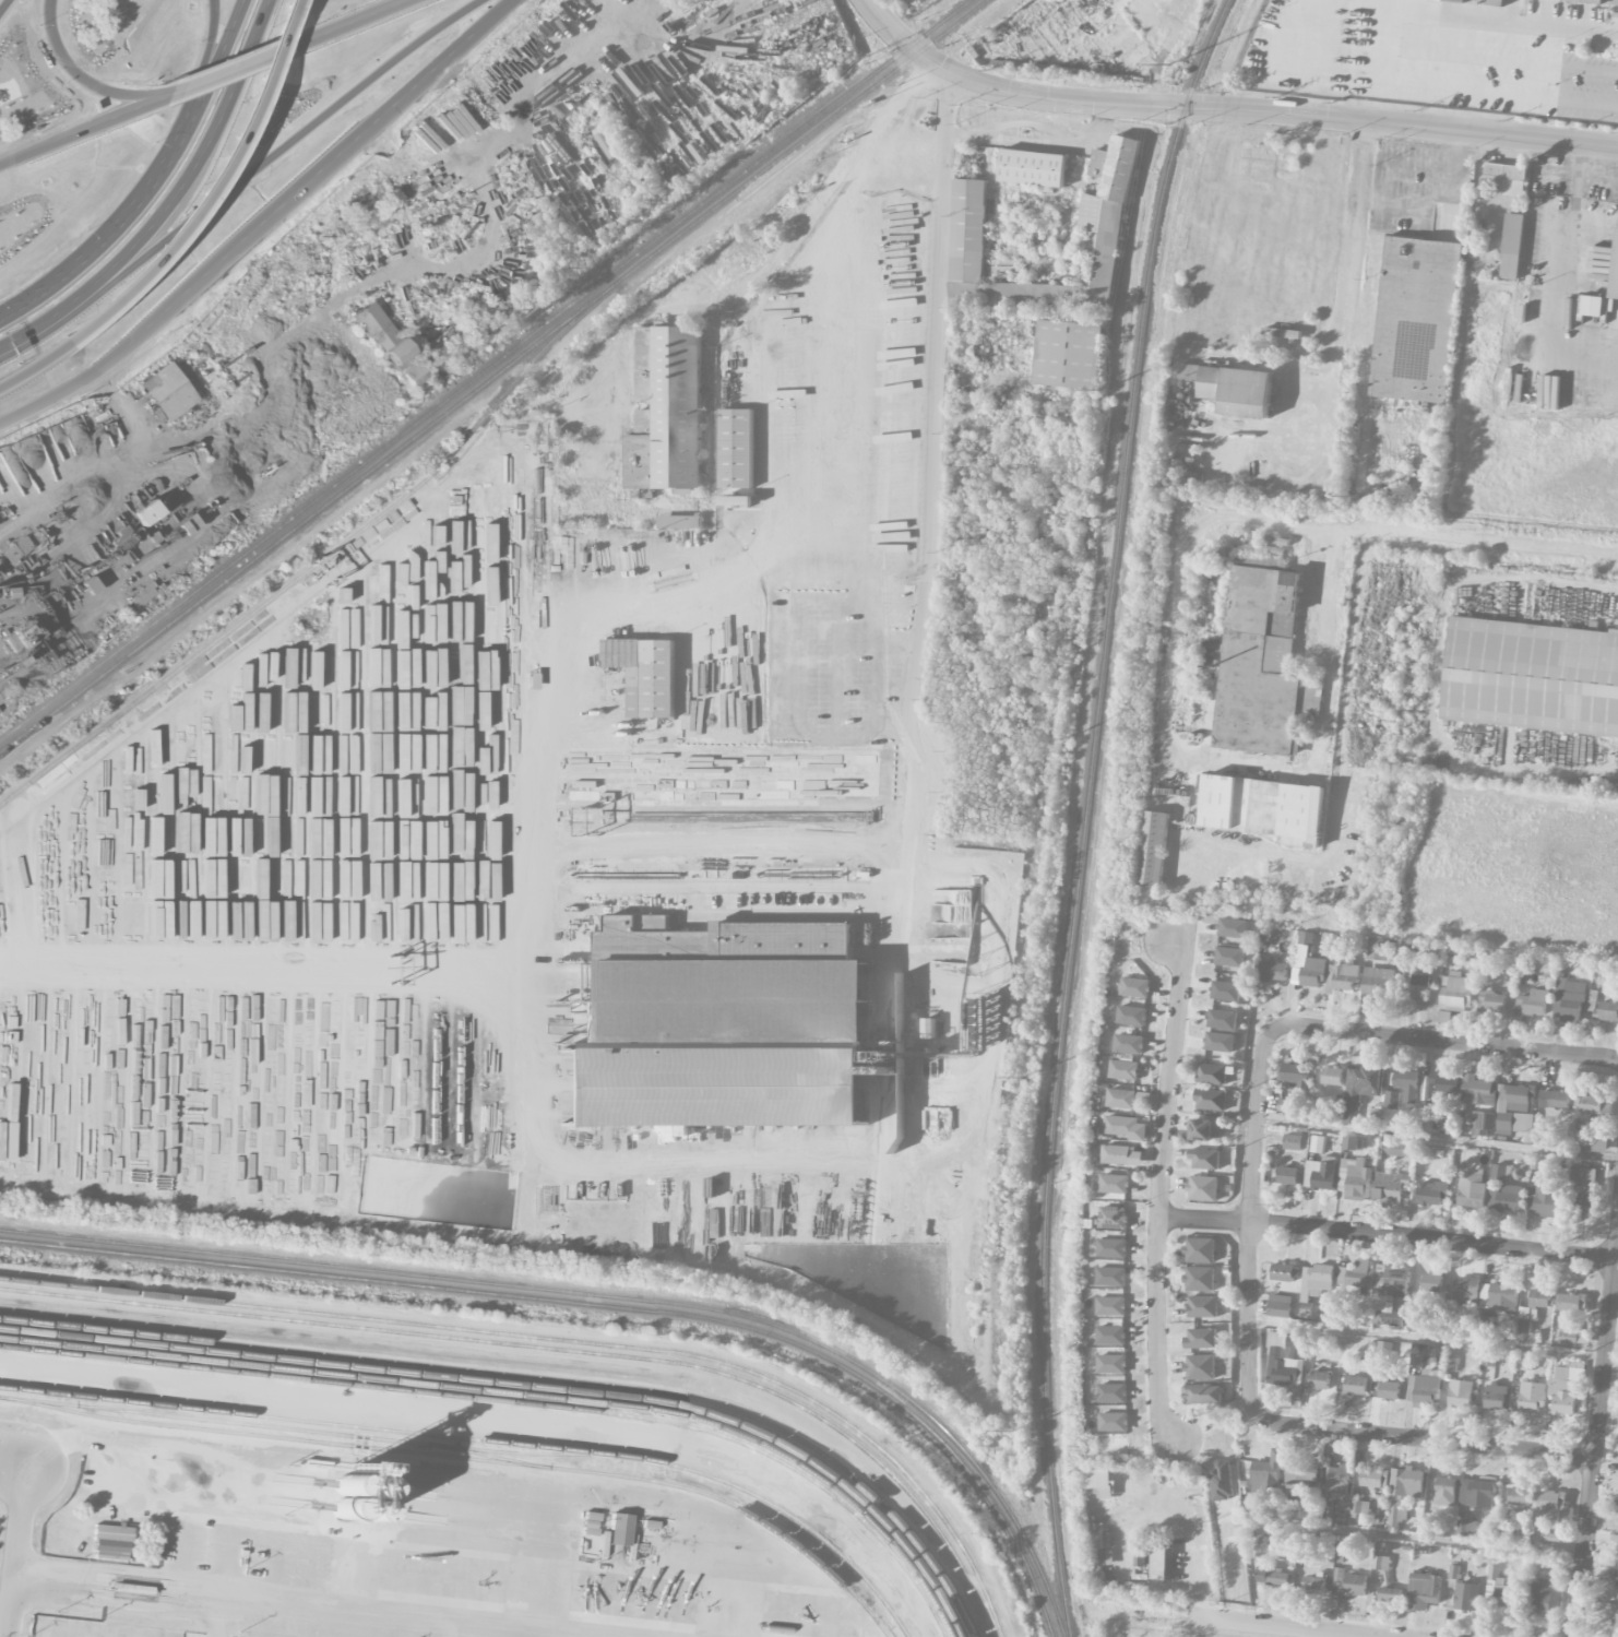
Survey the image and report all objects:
building: (1455, 0)
building: (1476, 1)
building: (1594, 1)
building: (1495, 2)
road: (4, 7)
road: (353, 23)
road: (218, 55)
road: (210, 56)
power tower: (1168, 66)
road: (69, 70)
road: (229, 71)
road: (1226, 109)
road: (1034, 124)
road: (82, 131)
road: (877, 137)
road: (295, 141)
road: (210, 153)
road: (1581, 161)
building: (1033, 168)
road: (1555, 175)
building: (1507, 178)
road: (1597, 179)
road: (1575, 187)
building: (1103, 212)
road: (265, 223)
road: (185, 225)
road: (114, 230)
building: (968, 230)
road: (1353, 234)
building: (1512, 246)
building: (1615, 270)
road: (376, 271)
road: (1563, 297)
building: (1596, 306)
building: (1416, 319)
road: (56, 322)
road: (938, 327)
building: (381, 333)
building: (1069, 354)
railway: (485, 369)
railway: (492, 375)
building: (1234, 389)
building: (167, 390)
power tower: (1101, 395)
building: (643, 398)
road: (1317, 403)
building: (737, 449)
road: (99, 466)
building: (736, 498)
building: (145, 512)
building: (679, 522)
road: (1471, 539)
road: (841, 544)
building: (16, 548)
railway: (316, 562)
road: (796, 642)
building: (1257, 663)
road: (835, 668)
building: (646, 674)
building: (1532, 677)
building: (1312, 697)
road: (895, 722)
power tower: (1062, 737)
road: (1342, 751)
road: (1179, 752)
building: (1260, 808)
railway: (1084, 811)
road: (719, 835)
building: (1151, 851)
building: (1233, 927)
building: (1305, 937)
building: (1377, 949)
building: (1229, 957)
building: (1309, 968)
building: (1272, 971)
building: (1342, 974)
building: (721, 976)
building: (1378, 983)
road: (215, 985)
building: (1135, 987)
building: (1419, 987)
building: (1225, 990)
building: (1455, 992)
building: (1571, 999)
building: (1490, 1003)
building: (1533, 1003)
building: (1132, 1016)
building: (1443, 1017)
building: (1222, 1019)
road: (1440, 1040)
building: (1220, 1042)
building: (1129, 1044)
building: (1125, 1069)
building: (1211, 1073)
building: (1294, 1073)
building: (1332, 1076)
power tower: (1024, 1078)
building: (1405, 1083)
building: (1444, 1084)
building: (713, 1087)
building: (1359, 1090)
building: (1478, 1090)
building: (1121, 1099)
building: (1210, 1099)
building: (1554, 1099)
building: (1391, 1100)
road: (528, 1101)
building: (1285, 1105)
building: (1593, 1106)
building: (1513, 1108)
building: (1483, 1120)
building: (1118, 1125)
building: (1206, 1129)
building: (1293, 1142)
building: (1352, 1143)
building: (1395, 1150)
building: (1116, 1154)
building: (1204, 1159)
building: (1320, 1173)
building: (1287, 1175)
building: (1581, 1176)
building: (1354, 1179)
building: (1114, 1184)
building: (1390, 1185)
road: (1159, 1188)
building: (1202, 1188)
building: (1472, 1189)
building: (1502, 1189)
building: (1431, 1194)
building: (1544, 1199)
building: (1582, 1203)
building: (1113, 1217)
road: (1249, 1221)
road: (1387, 1233)
building: (1111, 1248)
building: (1199, 1250)
building: (1283, 1272)
building: (1110, 1276)
building: (1358, 1277)
building: (1199, 1279)
building: (1432, 1281)
building: (1316, 1282)
building: (1463, 1291)
building: (1390, 1294)
railway: (608, 1295)
building: (1498, 1296)
building: (1572, 1302)
railway: (600, 1304)
building: (1535, 1305)
building: (1110, 1306)
building: (1202, 1306)
building: (1278, 1306)
building: (1568, 1332)
building: (1111, 1334)
building: (1201, 1338)
railway: (564, 1339)
railway: (557, 1348)
building: (1285, 1361)
building: (1524, 1362)
building: (1111, 1364)
building: (1200, 1366)
railway: (538, 1375)
building: (1319, 1379)
railway: (531, 1384)
building: (1356, 1385)
building: (1425, 1387)
building: (1389, 1388)
building: (1563, 1389)
building: (1113, 1392)
building: (1201, 1392)
railway: (523, 1393)
building: (1461, 1393)
building: (1495, 1396)
building: (1532, 1397)
railway: (515, 1400)
railway: (145, 1407)
building: (1114, 1422)
railway: (270, 1425)
power tower: (1015, 1430)
road: (17, 1431)
road: (1418, 1438)
road: (1595, 1438)
railway: (486, 1440)
railway: (514, 1451)
railway: (469, 1457)
building: (1268, 1473)
building: (1300, 1478)
building: (1375, 1478)
building: (1337, 1479)
building: (1404, 1486)
building: (1104, 1490)
building: (1446, 1491)
building: (1476, 1493)
building: (1519, 1496)
road: (195, 1505)
building: (619, 1528)
building: (1467, 1529)
building: (112, 1532)
road: (23, 1534)
road: (1189, 1543)
road: (182, 1544)
building: (111, 1547)
road: (225, 1551)
building: (1101, 1551)
building: (1140, 1554)
building: (1381, 1563)
building: (1272, 1577)
building: (1313, 1582)
building: (1348, 1583)
building: (1617, 1587)
building: (1502, 1590)
building: (1423, 1591)
building: (1390, 1593)
building: (1542, 1594)
building: (1466, 1596)
road: (332, 1603)
road: (5, 1614)
road: (216, 1614)
building: (1616, 1620)
road: (1274, 1627)
park: (1131, 1633)

